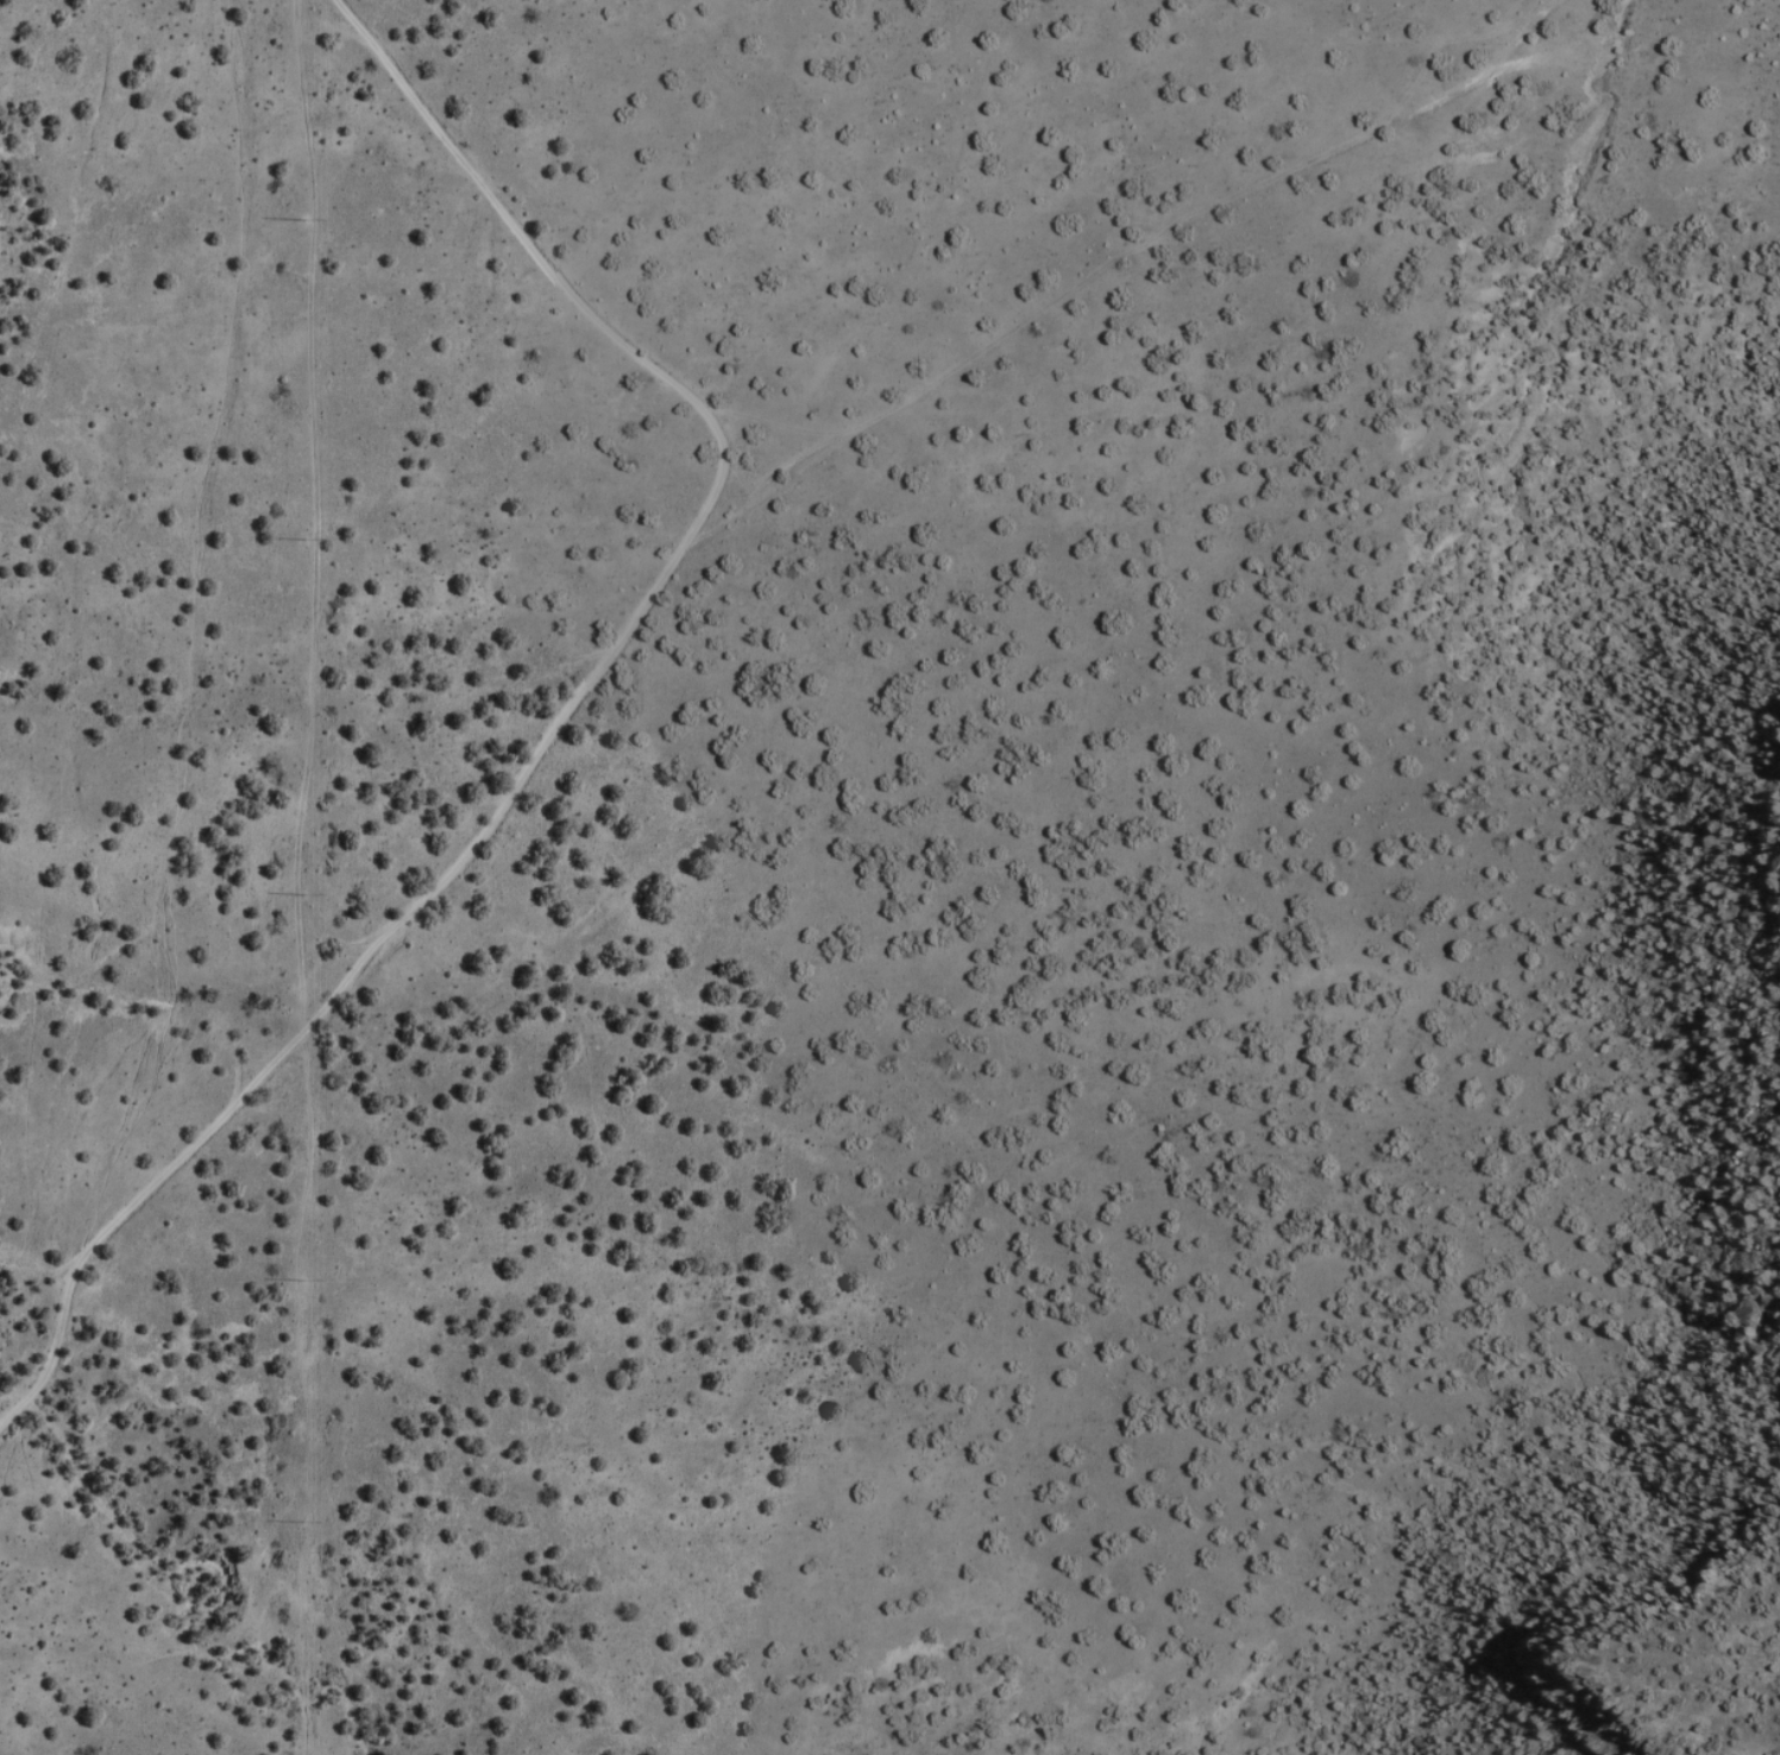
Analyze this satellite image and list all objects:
road: (1757, 17)
road: (534, 265)
road: (663, 572)

